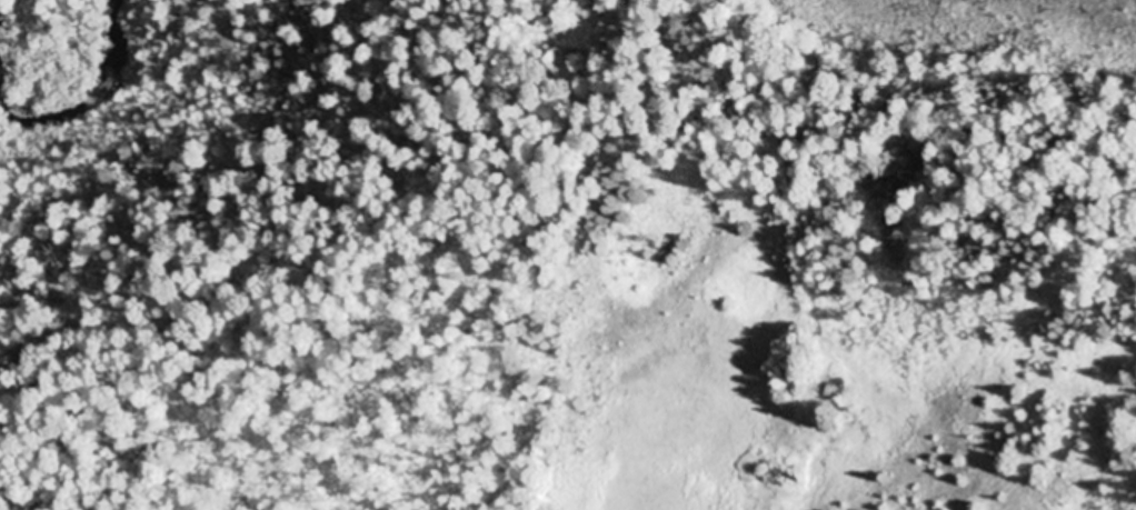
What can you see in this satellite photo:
river: (77, 87)
road: (931, 91)

